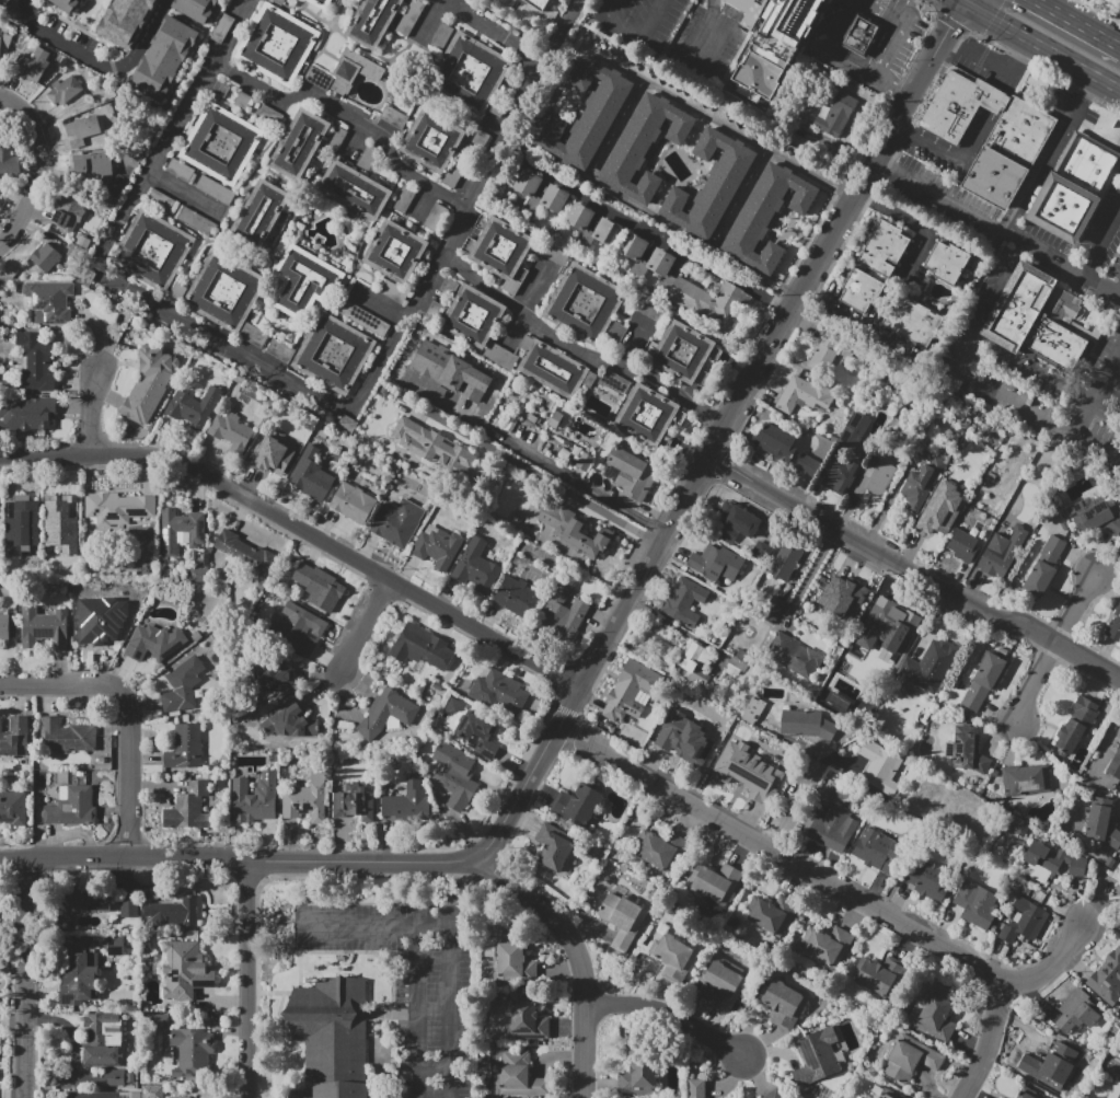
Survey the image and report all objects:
road: (25, 0)
building: (277, 2)
road: (863, 2)
road: (959, 2)
road: (965, 2)
building: (321, 3)
building: (4, 4)
building: (535, 4)
building: (67, 5)
building: (197, 9)
road: (607, 9)
building: (749, 11)
road: (901, 11)
road: (879, 13)
building: (806, 14)
building: (408, 16)
road: (952, 20)
building: (372, 21)
building: (124, 22)
road: (1075, 24)
traffic signals: (949, 27)
road: (714, 32)
road: (147, 33)
road: (492, 33)
road: (563, 33)
building: (862, 34)
building: (0, 36)
building: (441, 37)
road: (640, 39)
road: (70, 44)
building: (278, 44)
building: (0, 47)
road: (1041, 47)
road: (828, 48)
road: (892, 50)
building: (164, 59)
road: (992, 63)
road: (926, 67)
building: (28, 68)
building: (354, 71)
building: (470, 72)
building: (317, 78)
road: (1088, 85)
road: (893, 86)
building: (63, 90)
road: (1078, 103)
road: (348, 112)
building: (267, 114)
building: (835, 114)
building: (587, 115)
building: (393, 117)
road: (622, 123)
building: (83, 127)
road: (727, 127)
road: (510, 128)
building: (990, 135)
building: (432, 140)
building: (220, 143)
building: (297, 143)
building: (644, 147)
road: (944, 153)
road: (882, 161)
building: (9, 162)
building: (91, 164)
road: (41, 169)
building: (180, 170)
road: (1044, 174)
building: (711, 184)
building: (1075, 188)
building: (355, 189)
building: (216, 190)
building: (527, 190)
road: (856, 192)
road: (185, 193)
road: (744, 194)
building: (404, 198)
building: (160, 200)
building: (261, 216)
building: (766, 217)
building: (436, 218)
building: (67, 219)
building: (197, 221)
building: (578, 223)
road: (1004, 231)
road: (1101, 243)
road: (665, 244)
road: (917, 244)
building: (499, 249)
building: (885, 249)
building: (153, 250)
building: (395, 251)
building: (46, 256)
building: (648, 259)
building: (948, 262)
building: (303, 282)
building: (448, 287)
building: (862, 290)
building: (178, 291)
building: (224, 291)
building: (394, 291)
road: (1119, 293)
building: (704, 298)
building: (35, 301)
road: (524, 302)
road: (380, 303)
building: (584, 303)
building: (436, 310)
building: (472, 316)
building: (1036, 317)
building: (363, 319)
road: (861, 320)
building: (913, 321)
road: (197, 326)
building: (253, 335)
road: (632, 342)
building: (279, 350)
road: (574, 350)
building: (683, 352)
building: (334, 354)
building: (823, 354)
building: (500, 357)
building: (35, 362)
building: (554, 370)
building: (451, 371)
road: (751, 371)
road: (975, 377)
building: (613, 381)
building: (151, 384)
road: (1097, 392)
building: (797, 395)
building: (193, 407)
road: (90, 412)
building: (26, 414)
building: (649, 416)
building: (558, 421)
building: (347, 425)
building: (854, 431)
building: (231, 432)
building: (776, 442)
building: (348, 443)
building: (436, 448)
road: (519, 448)
building: (274, 454)
building: (808, 465)
building: (632, 472)
building: (840, 475)
building: (874, 478)
building: (311, 479)
building: (922, 484)
building: (353, 502)
building: (117, 508)
building: (942, 509)
building: (1095, 516)
building: (62, 522)
building: (397, 522)
building: (736, 522)
building: (21, 529)
building: (181, 531)
building: (575, 531)
road: (299, 532)
building: (437, 546)
building: (962, 546)
building: (762, 550)
building: (1002, 553)
building: (245, 554)
road: (878, 554)
building: (785, 562)
building: (716, 563)
building: (476, 567)
building: (1044, 567)
road: (640, 571)
road: (809, 578)
building: (319, 587)
road: (393, 592)
building: (516, 597)
building: (683, 601)
building: (834, 603)
road: (1076, 606)
building: (772, 609)
building: (564, 612)
building: (99, 616)
road: (366, 626)
building: (4, 627)
building: (43, 627)
building: (296, 627)
building: (1113, 627)
building: (891, 628)
building: (154, 643)
building: (420, 647)
building: (794, 656)
road: (1088, 661)
building: (694, 662)
building: (930, 666)
building: (270, 675)
building: (984, 678)
building: (183, 685)
road: (1034, 686)
building: (632, 687)
building: (497, 691)
building: (836, 701)
building: (752, 709)
road: (129, 712)
building: (388, 714)
building: (290, 721)
building: (806, 724)
building: (1076, 724)
building: (473, 727)
building: (66, 737)
building: (15, 738)
building: (682, 738)
building: (714, 740)
building: (185, 748)
building: (966, 749)
building: (752, 756)
building: (1115, 765)
building: (877, 766)
building: (452, 772)
building: (1026, 779)
building: (254, 798)
building: (307, 800)
building: (408, 800)
building: (354, 802)
road: (794, 804)
building: (580, 806)
building: (13, 807)
building: (72, 807)
building: (189, 808)
building: (206, 808)
building: (1102, 820)
building: (832, 829)
building: (661, 847)
building: (557, 849)
building: (878, 851)
road: (780, 854)
road: (338, 862)
building: (1051, 863)
building: (927, 880)
building: (715, 882)
road: (262, 885)
road: (441, 893)
road: (454, 893)
building: (86, 902)
building: (977, 904)
building: (127, 905)
building: (171, 910)
building: (771, 914)
road: (551, 917)
building: (623, 918)
building: (1024, 921)
road: (448, 936)
building: (827, 944)
road: (345, 952)
building: (673, 958)
road: (1055, 963)
building: (515, 966)
building: (185, 969)
building: (879, 975)
road: (27, 978)
building: (80, 979)
building: (1107, 979)
road: (249, 980)
building: (721, 982)
building: (783, 1004)
road: (391, 1010)
road: (415, 1012)
building: (1077, 1012)
road: (384, 1013)
road: (666, 1014)
building: (936, 1014)
building: (529, 1021)
building: (331, 1037)
building: (104, 1039)
road: (988, 1042)
road: (581, 1051)
building: (190, 1052)
building: (818, 1057)
building: (911, 1057)
building: (1052, 1068)
building: (518, 1076)
building: (116, 1077)
building: (129, 1078)
building: (638, 1078)
building: (696, 1088)
building: (152, 1091)
building: (880, 1091)
building: (129, 1094)
building: (776, 1094)
building: (1023, 1095)
building: (1119, 1096)
building: (180, 1097)
building: (998, 1097)

